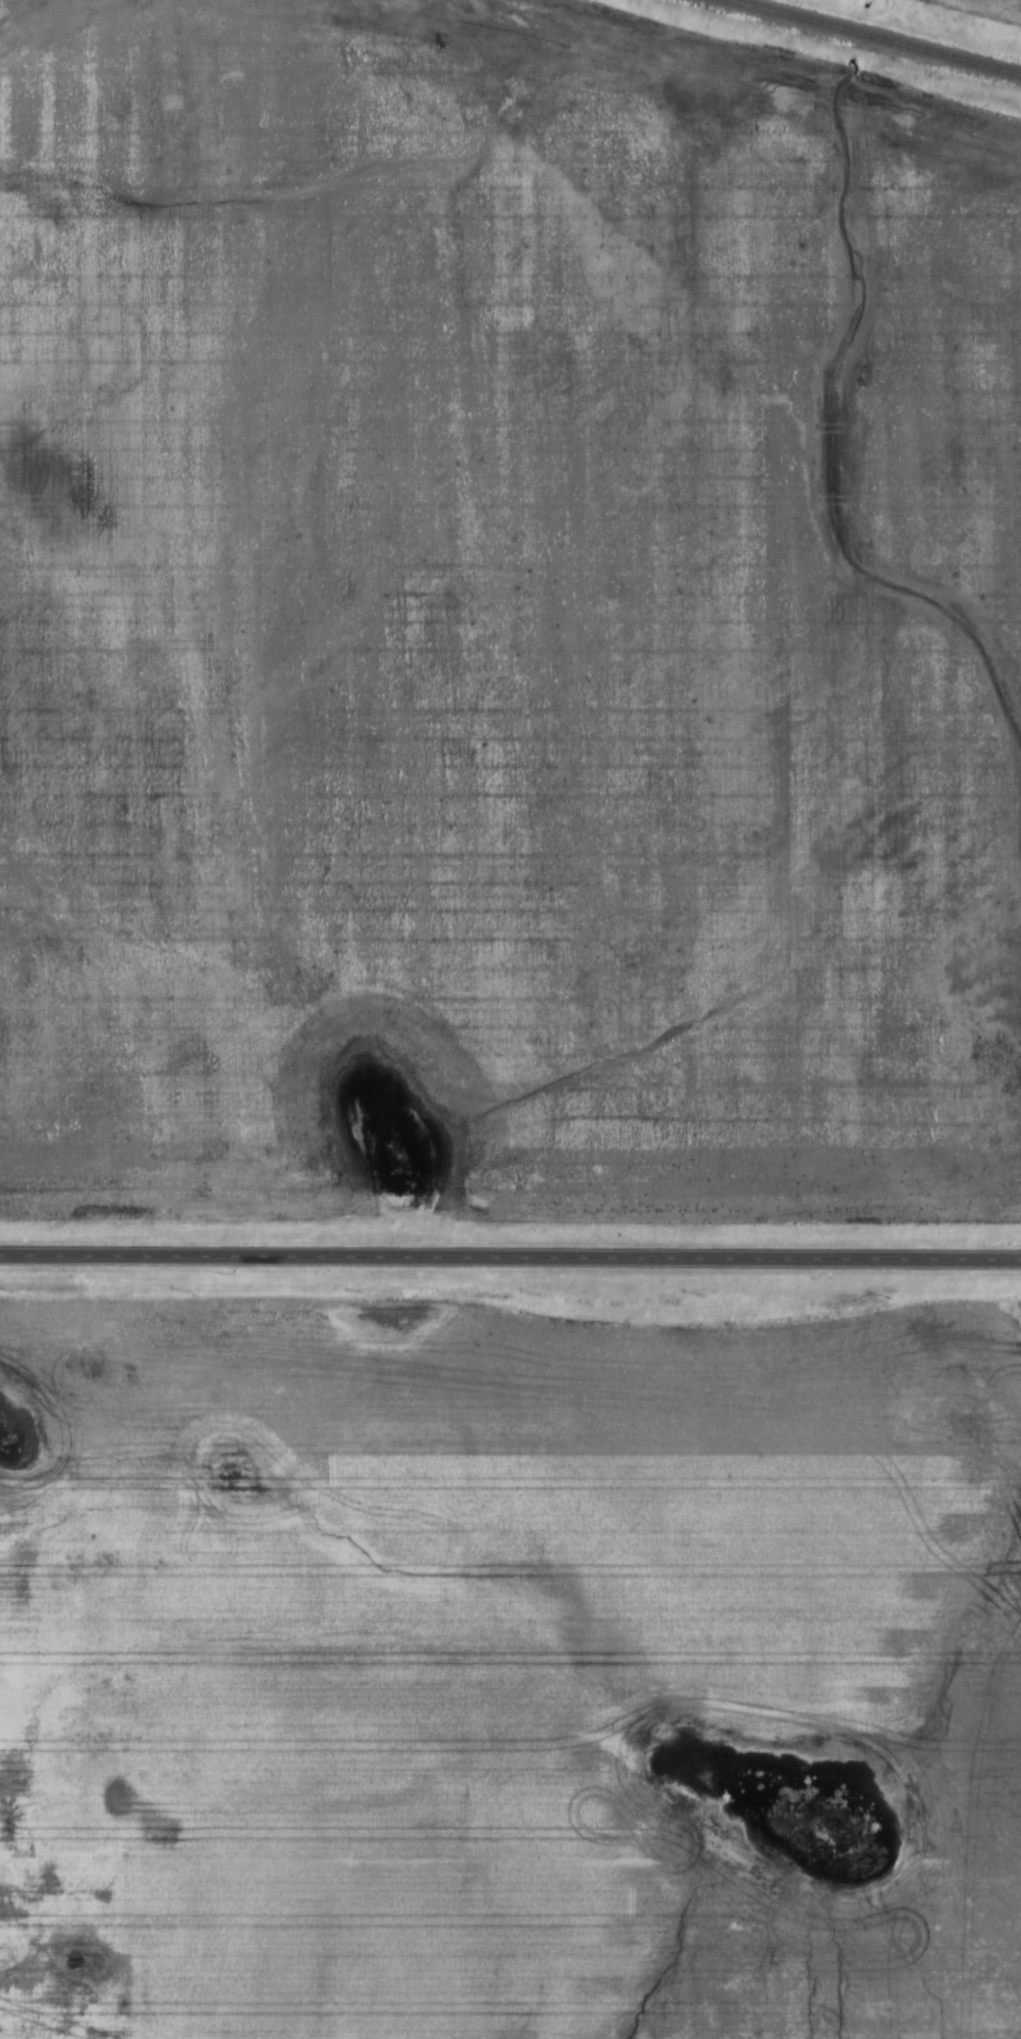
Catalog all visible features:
railway: (874, 37)
road: (510, 1258)
crop: (507, 1673)

